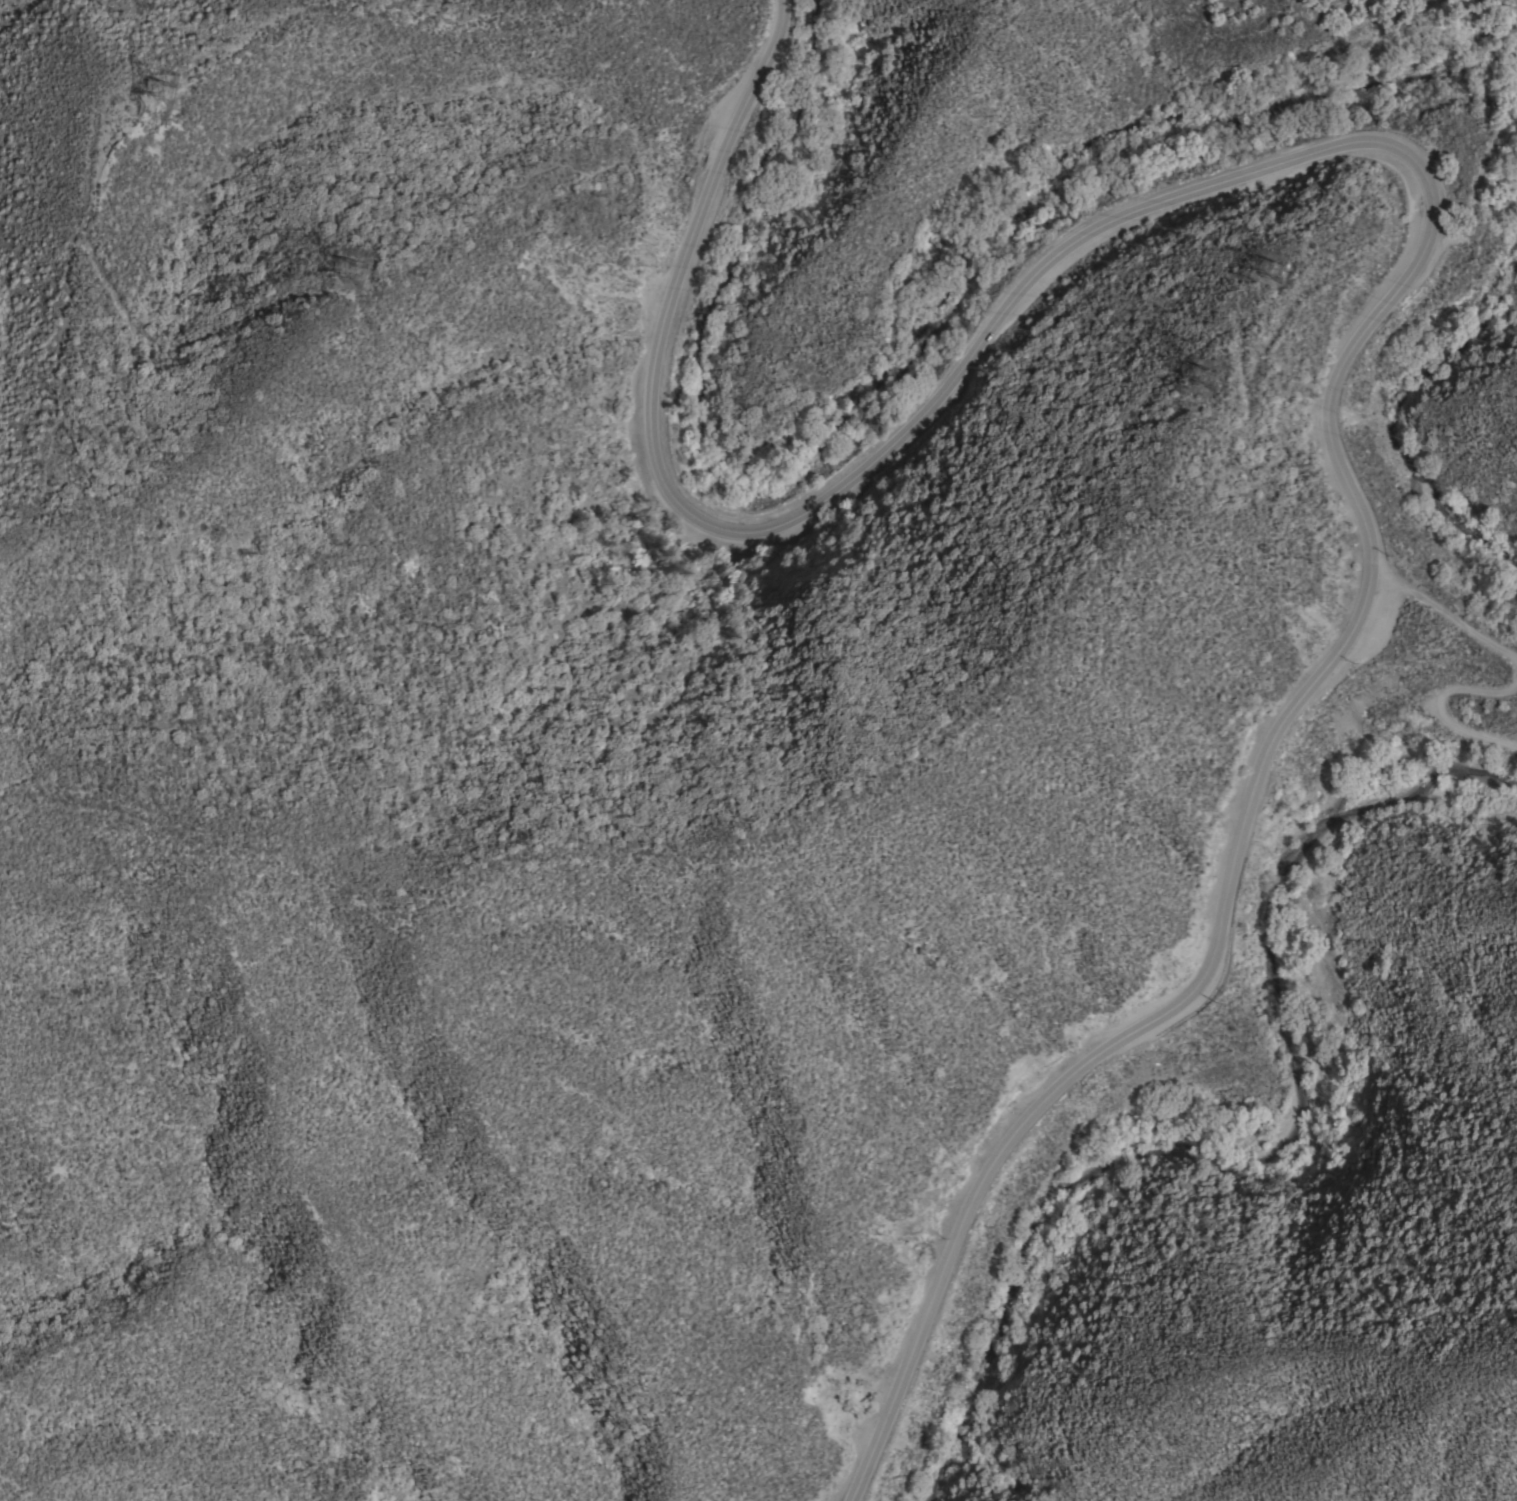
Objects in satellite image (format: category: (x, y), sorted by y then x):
power tower: (161, 98)
road: (1431, 220)
power tower: (362, 281)
power tower: (1285, 283)
power tower: (1215, 390)
road: (1443, 617)
road: (1440, 707)

